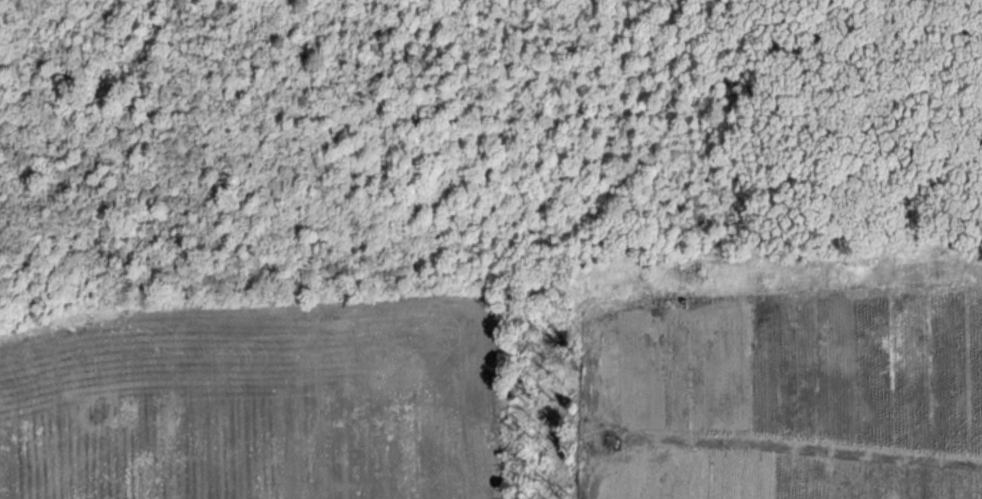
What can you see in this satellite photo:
crop: (238, 407)
road: (790, 449)

